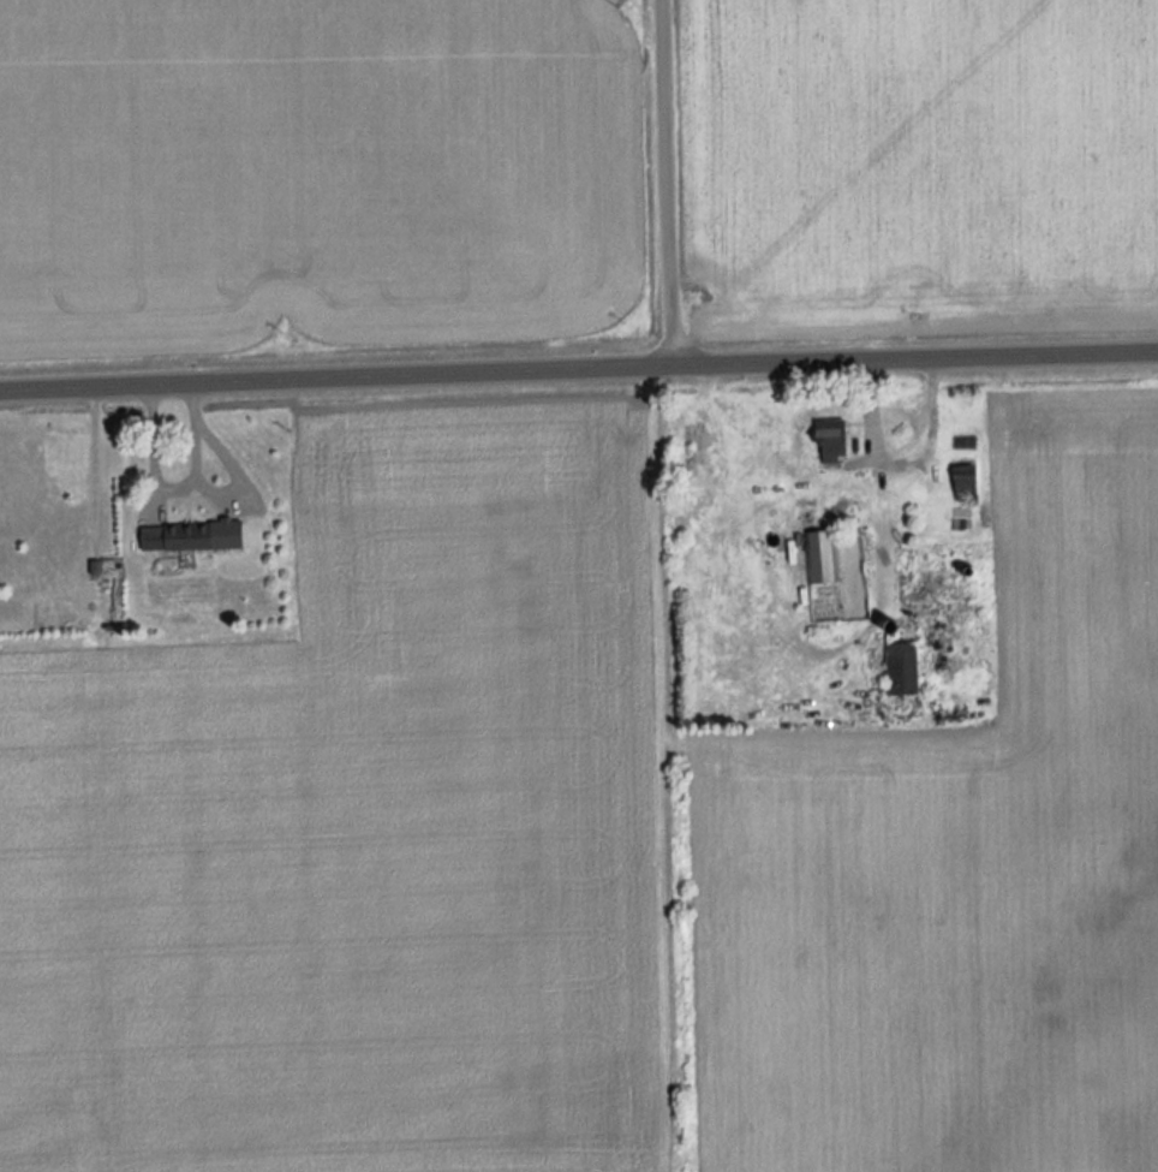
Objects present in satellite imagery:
road: (657, 185)
road: (578, 374)
building: (829, 439)
building: (962, 483)
building: (174, 535)
building: (822, 554)
building: (900, 667)

